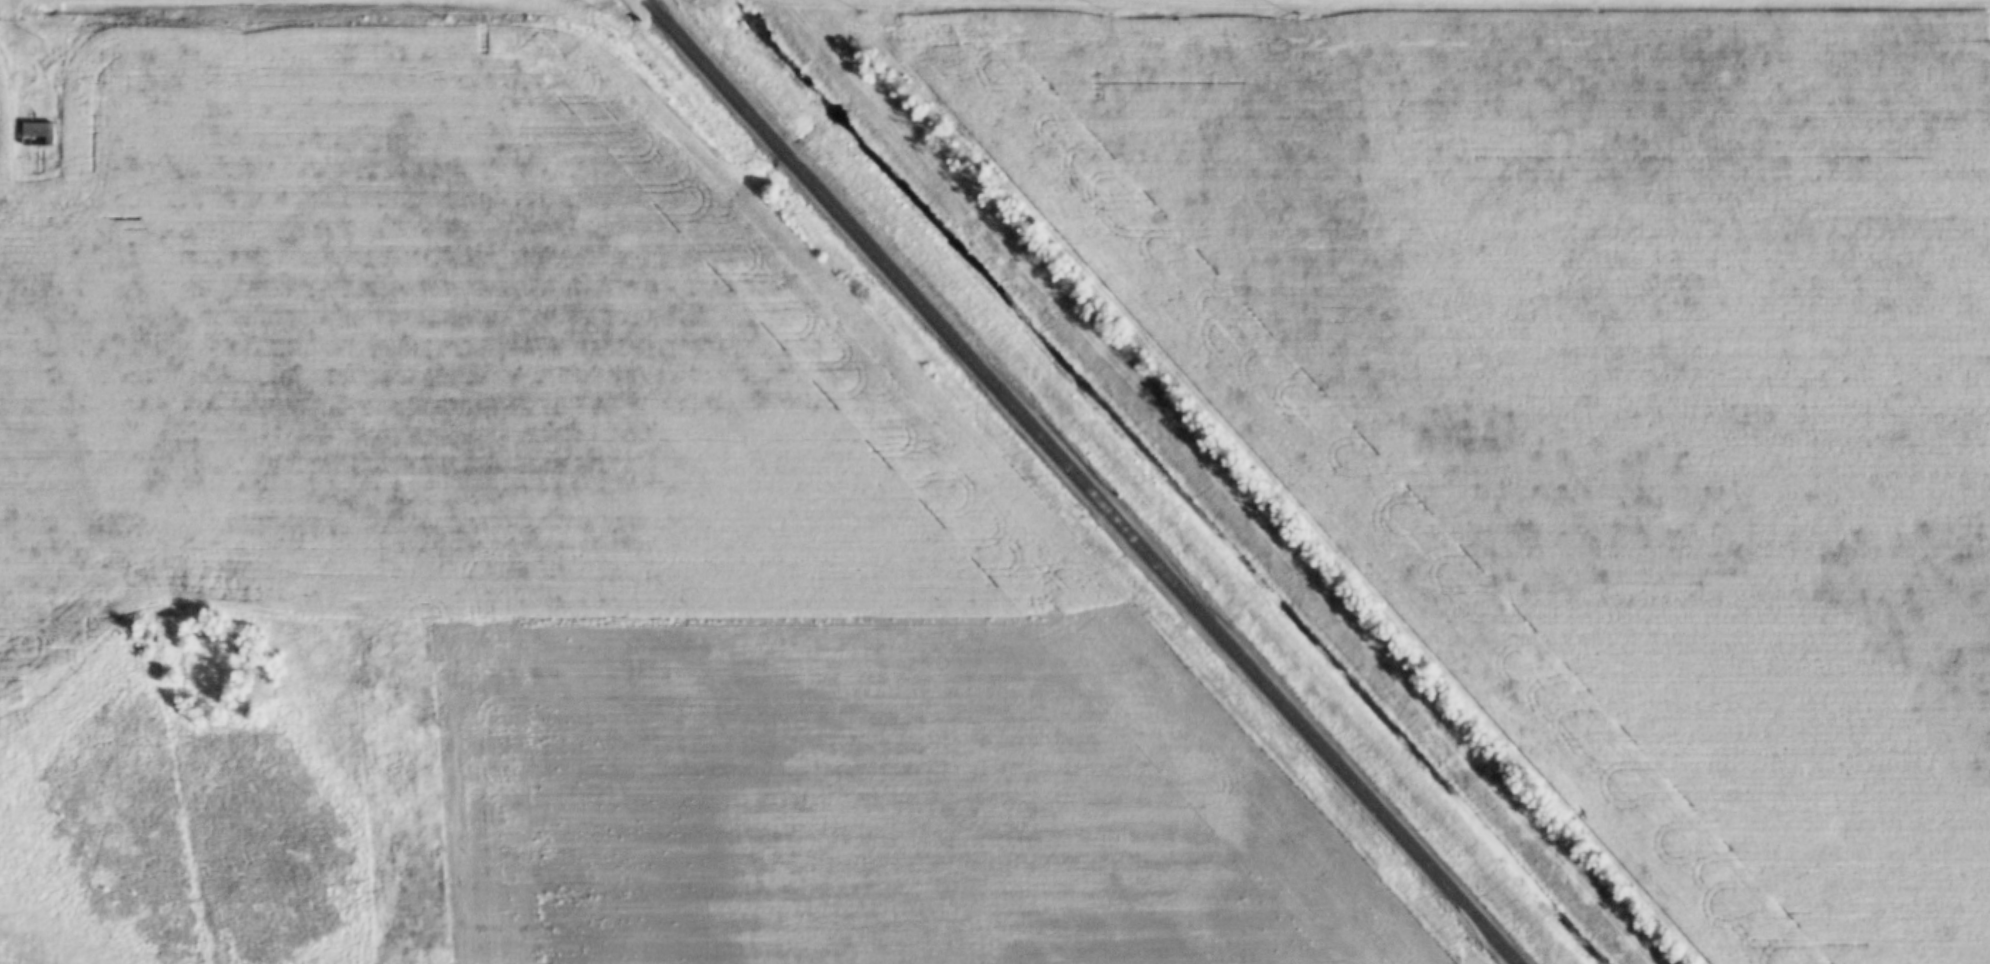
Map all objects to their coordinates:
building: (37, 135)
railway: (1077, 482)

